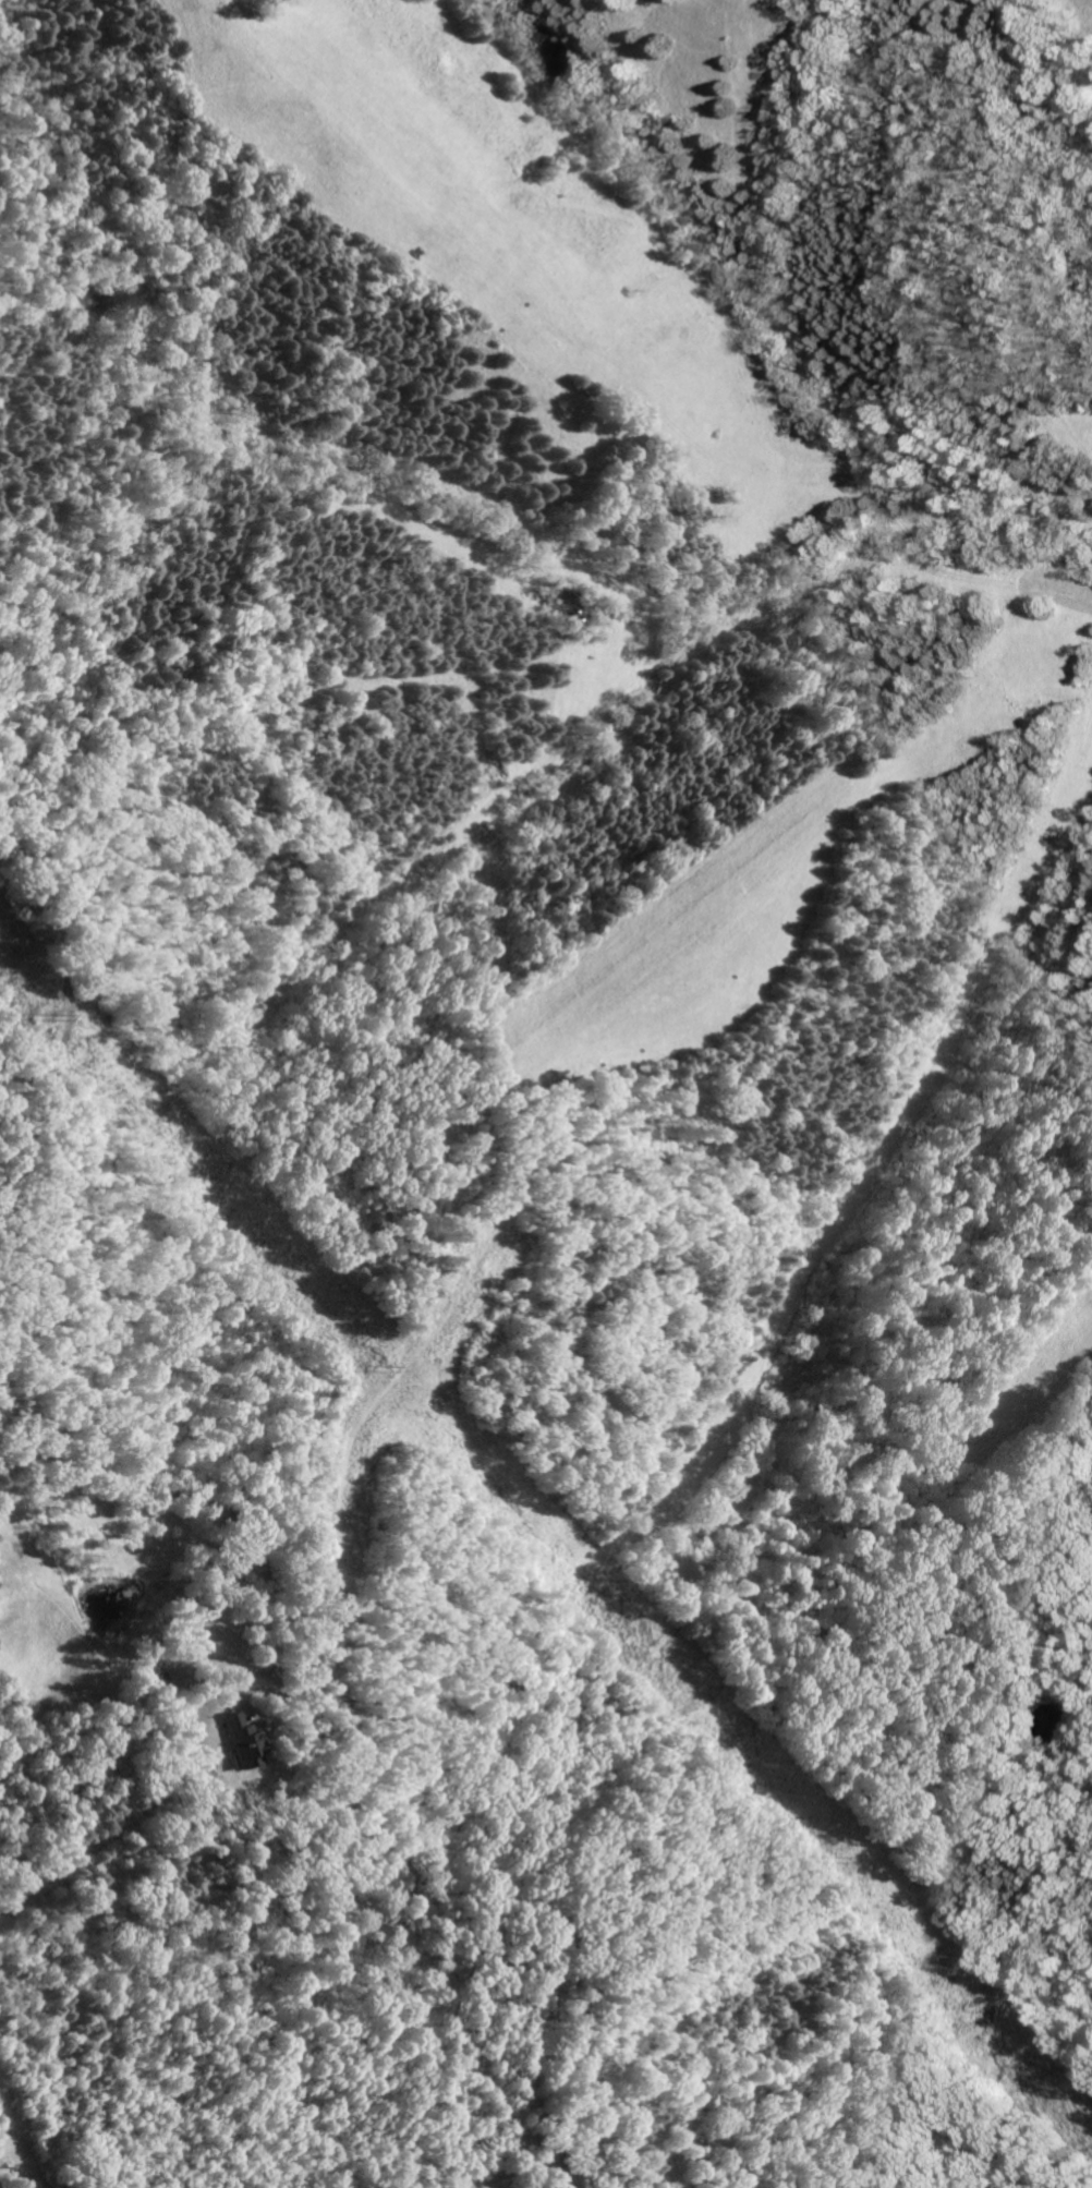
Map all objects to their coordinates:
road: (54, 1025)
building: (246, 1741)
road: (341, 1801)
road: (512, 2174)

